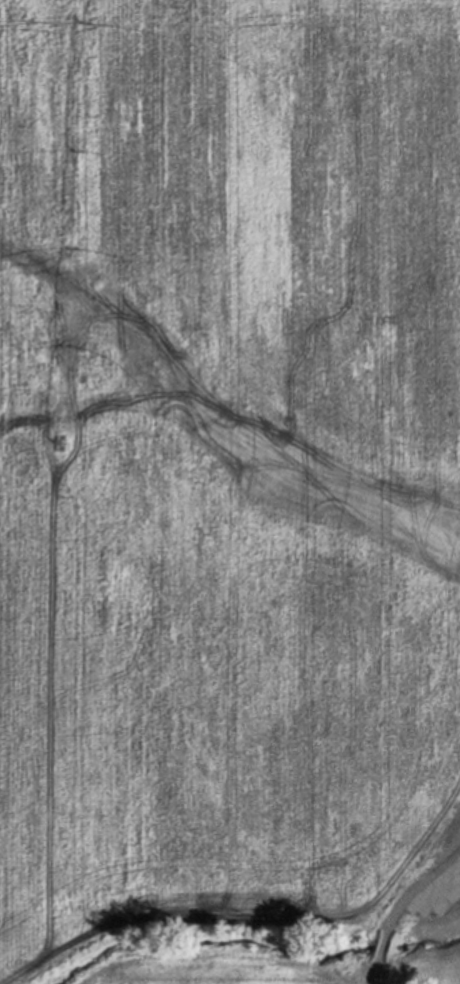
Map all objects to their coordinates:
crop: (224, 479)
road: (398, 905)
park: (416, 917)

